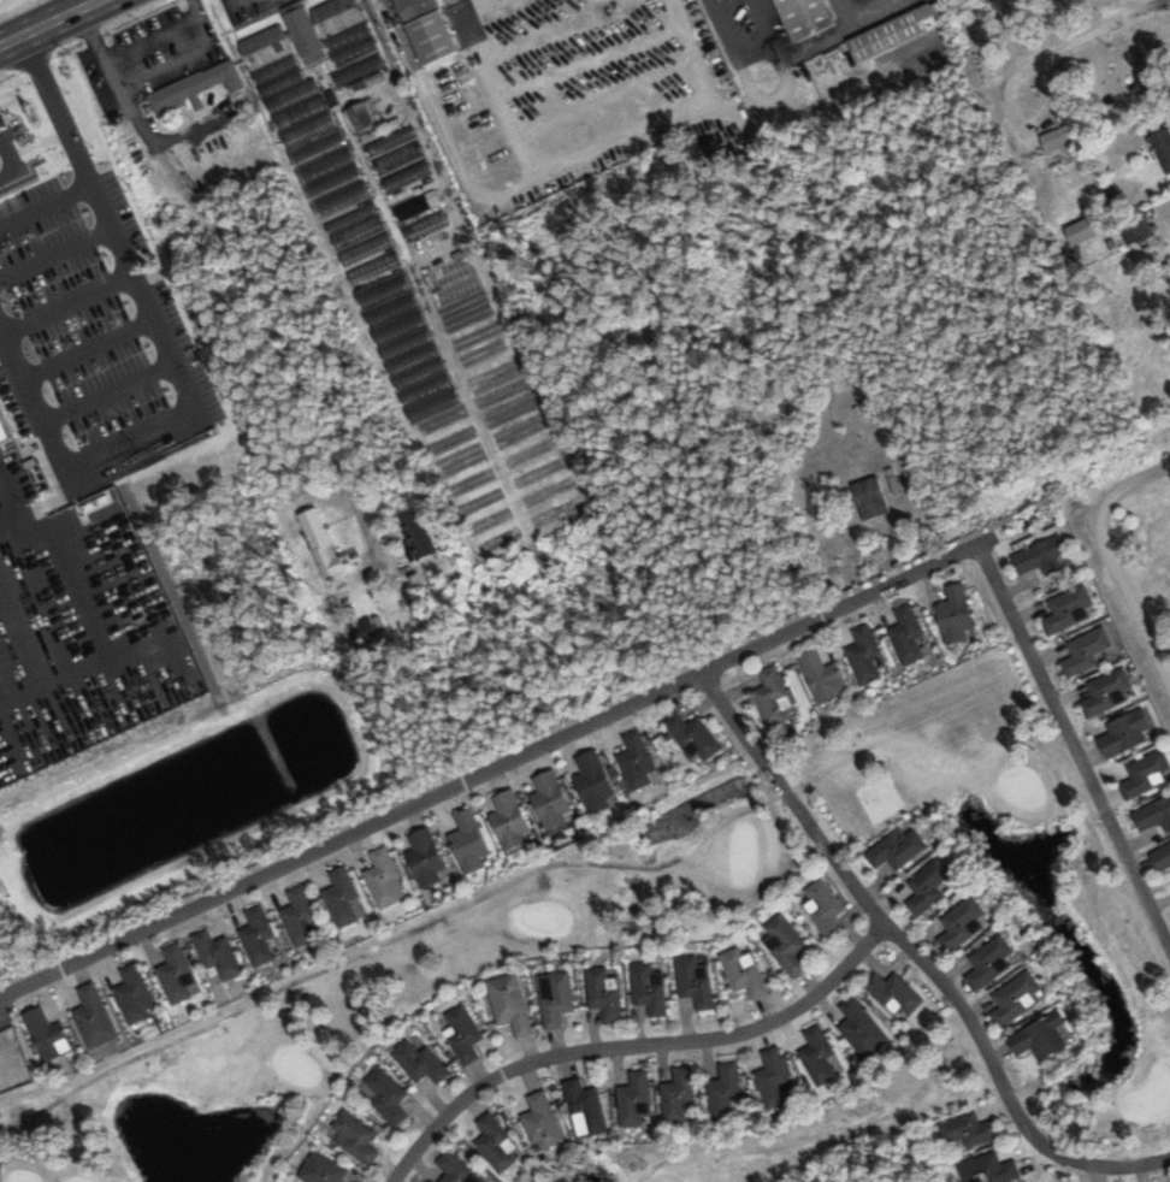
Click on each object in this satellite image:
road: (489, 13)
building: (805, 17)
road: (47, 22)
road: (762, 22)
building: (427, 29)
road: (845, 31)
road: (158, 32)
building: (303, 32)
building: (893, 32)
building: (348, 41)
road: (729, 47)
road: (175, 54)
building: (1146, 75)
road: (42, 79)
building: (201, 88)
road: (610, 93)
road: (126, 104)
building: (364, 116)
building: (306, 125)
building: (1058, 138)
building: (390, 142)
road: (28, 146)
building: (1163, 147)
road: (5, 152)
building: (397, 159)
building: (407, 177)
road: (43, 203)
building: (354, 226)
building: (1134, 227)
building: (1081, 231)
building: (425, 234)
building: (365, 249)
road: (54, 253)
building: (373, 268)
road: (129, 273)
building: (449, 273)
building: (460, 297)
road: (67, 303)
road: (88, 348)
building: (408, 348)
road: (110, 391)
building: (4, 432)
road: (66, 462)
road: (1140, 478)
building: (870, 497)
building: (419, 534)
building: (321, 543)
building: (1040, 556)
road: (1127, 586)
building: (1069, 610)
building: (956, 615)
building: (908, 634)
building: (1086, 651)
building: (867, 655)
building: (822, 675)
building: (1107, 692)
building: (774, 697)
building: (1127, 733)
building: (693, 738)
road: (1072, 749)
building: (637, 761)
road: (496, 764)
building: (1146, 775)
building: (593, 781)
building: (550, 800)
building: (1154, 816)
building: (509, 820)
building: (468, 841)
building: (897, 849)
building: (425, 857)
building: (1162, 857)
building: (383, 876)
building: (928, 886)
building: (341, 897)
building: (825, 908)
building: (300, 916)
building: (963, 923)
building: (258, 935)
building: (786, 944)
building: (218, 956)
road: (917, 957)
building: (989, 963)
building: (745, 971)
building: (176, 975)
building: (696, 980)
building: (649, 988)
building: (603, 992)
building: (894, 993)
building: (134, 994)
building: (556, 998)
building: (1016, 998)
building: (510, 1003)
building: (94, 1017)
building: (862, 1028)
building: (463, 1033)
building: (47, 1034)
building: (1040, 1038)
road: (631, 1045)
building: (819, 1056)
building: (420, 1063)
building: (774, 1078)
building: (725, 1093)
building: (385, 1094)
building: (679, 1095)
building: (636, 1099)
building: (585, 1109)
building: (542, 1121)
building: (969, 1129)
building: (356, 1136)
building: (496, 1143)
building: (323, 1169)
building: (988, 1169)
building: (456, 1170)

